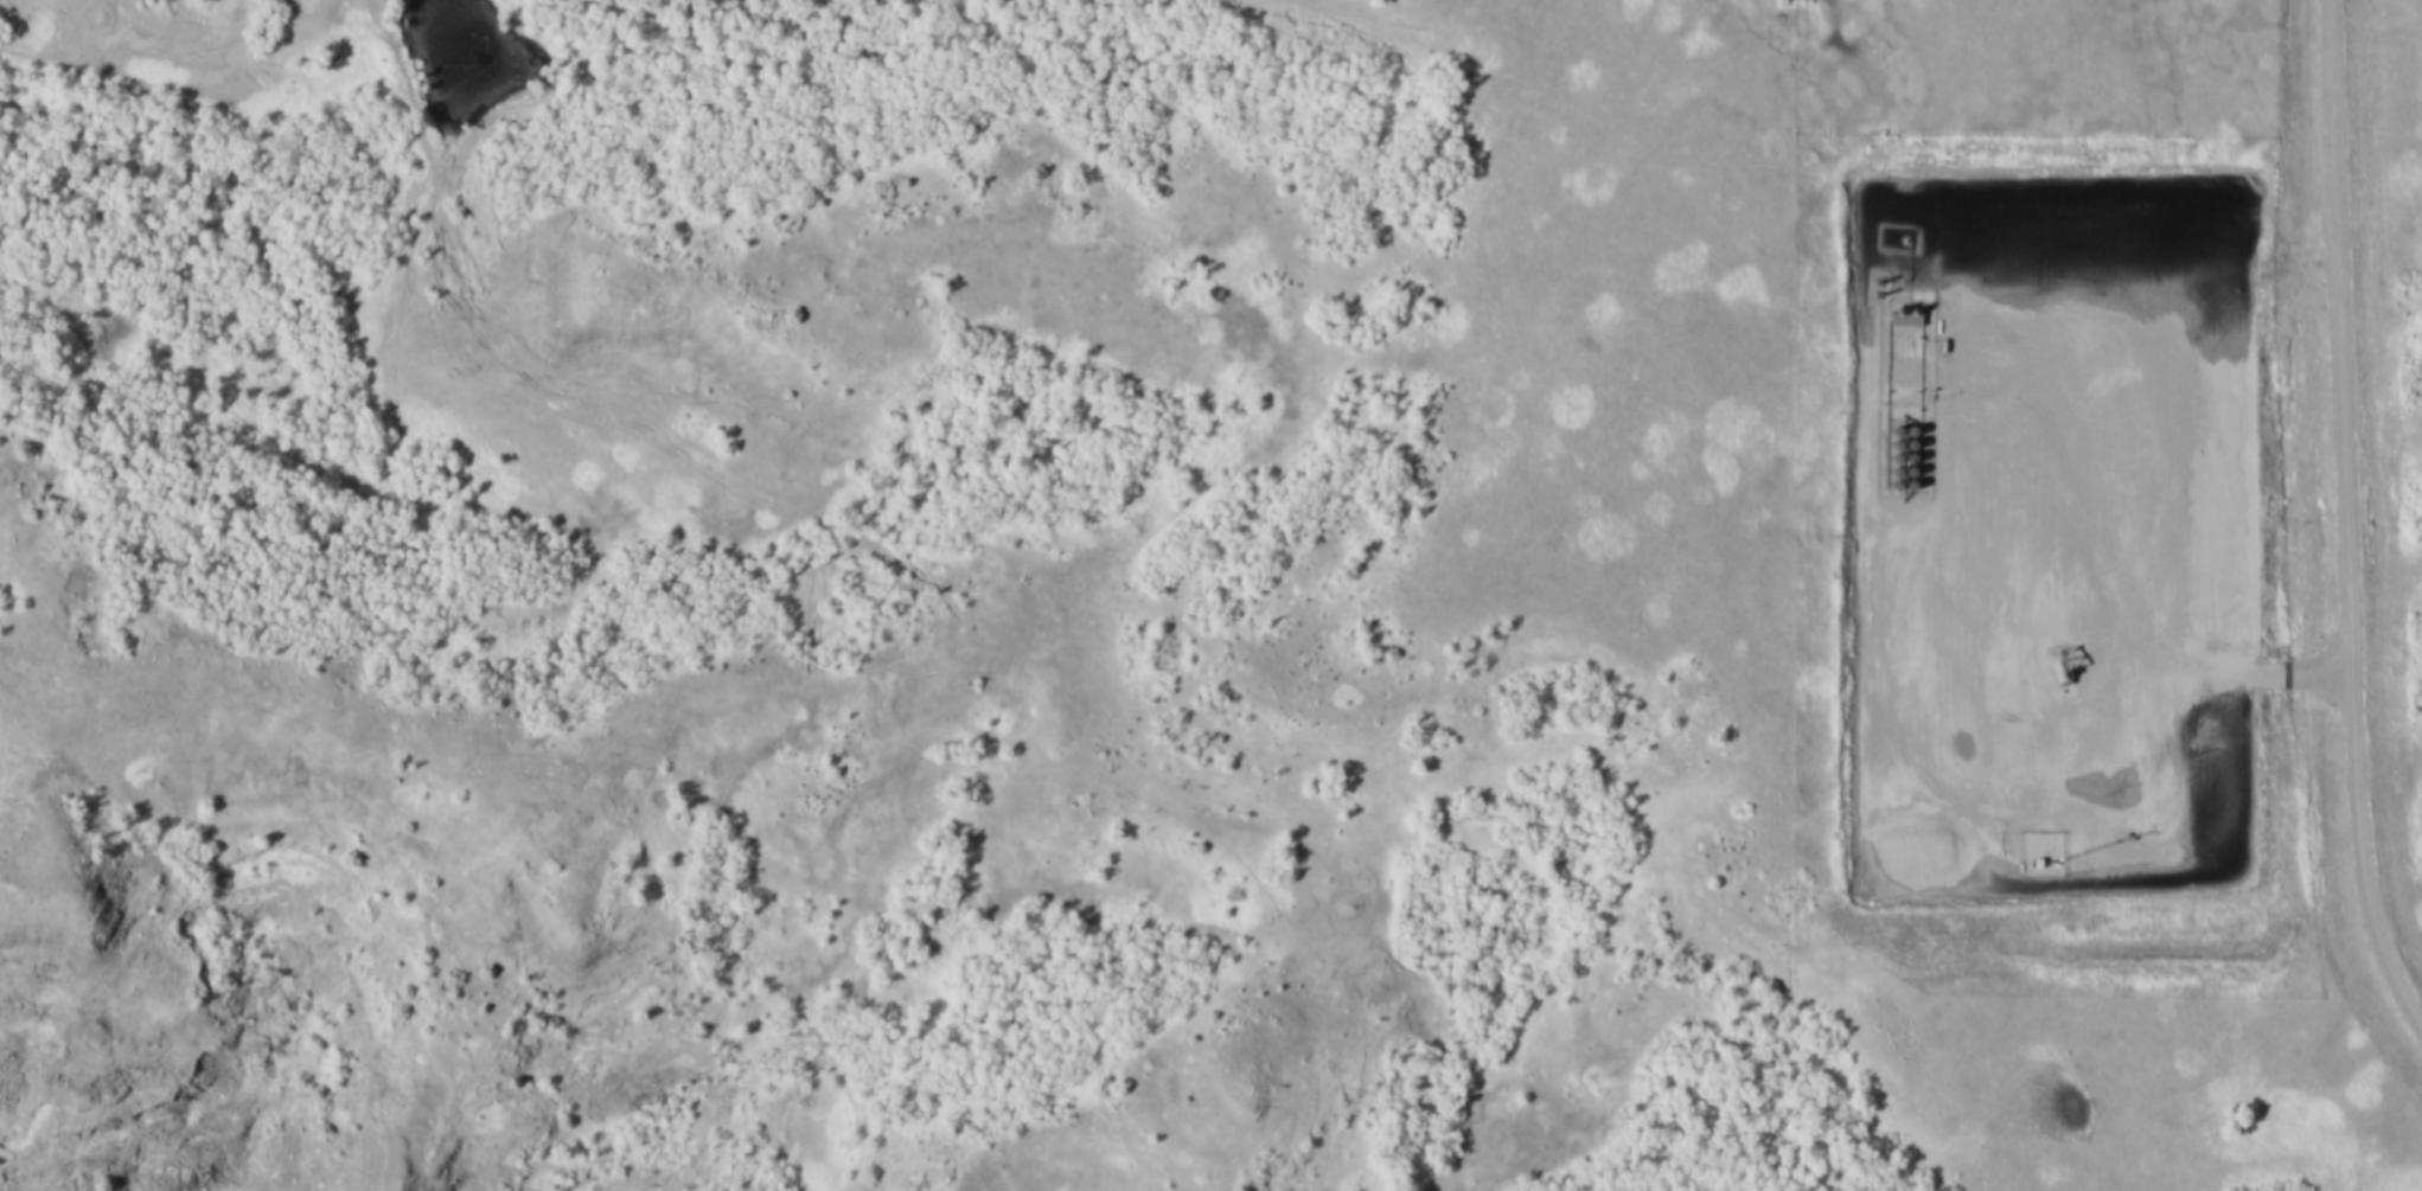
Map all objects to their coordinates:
building: (1903, 430)
storage tank: (1903, 430)
building: (1887, 433)
storage tank: (1887, 433)
building: (1889, 444)
storage tank: (1889, 444)
building: (1904, 444)
storage tank: (1904, 444)
building: (1903, 457)
storage tank: (1903, 457)
building: (1889, 459)
storage tank: (1889, 459)
building: (1887, 472)
storage tank: (1887, 472)
building: (1902, 472)
storage tank: (1902, 472)
building: (1887, 486)
storage tank: (1887, 486)
building: (1903, 486)
storage tank: (1903, 486)
road: (2339, 527)
petroleum well: (2058, 672)

